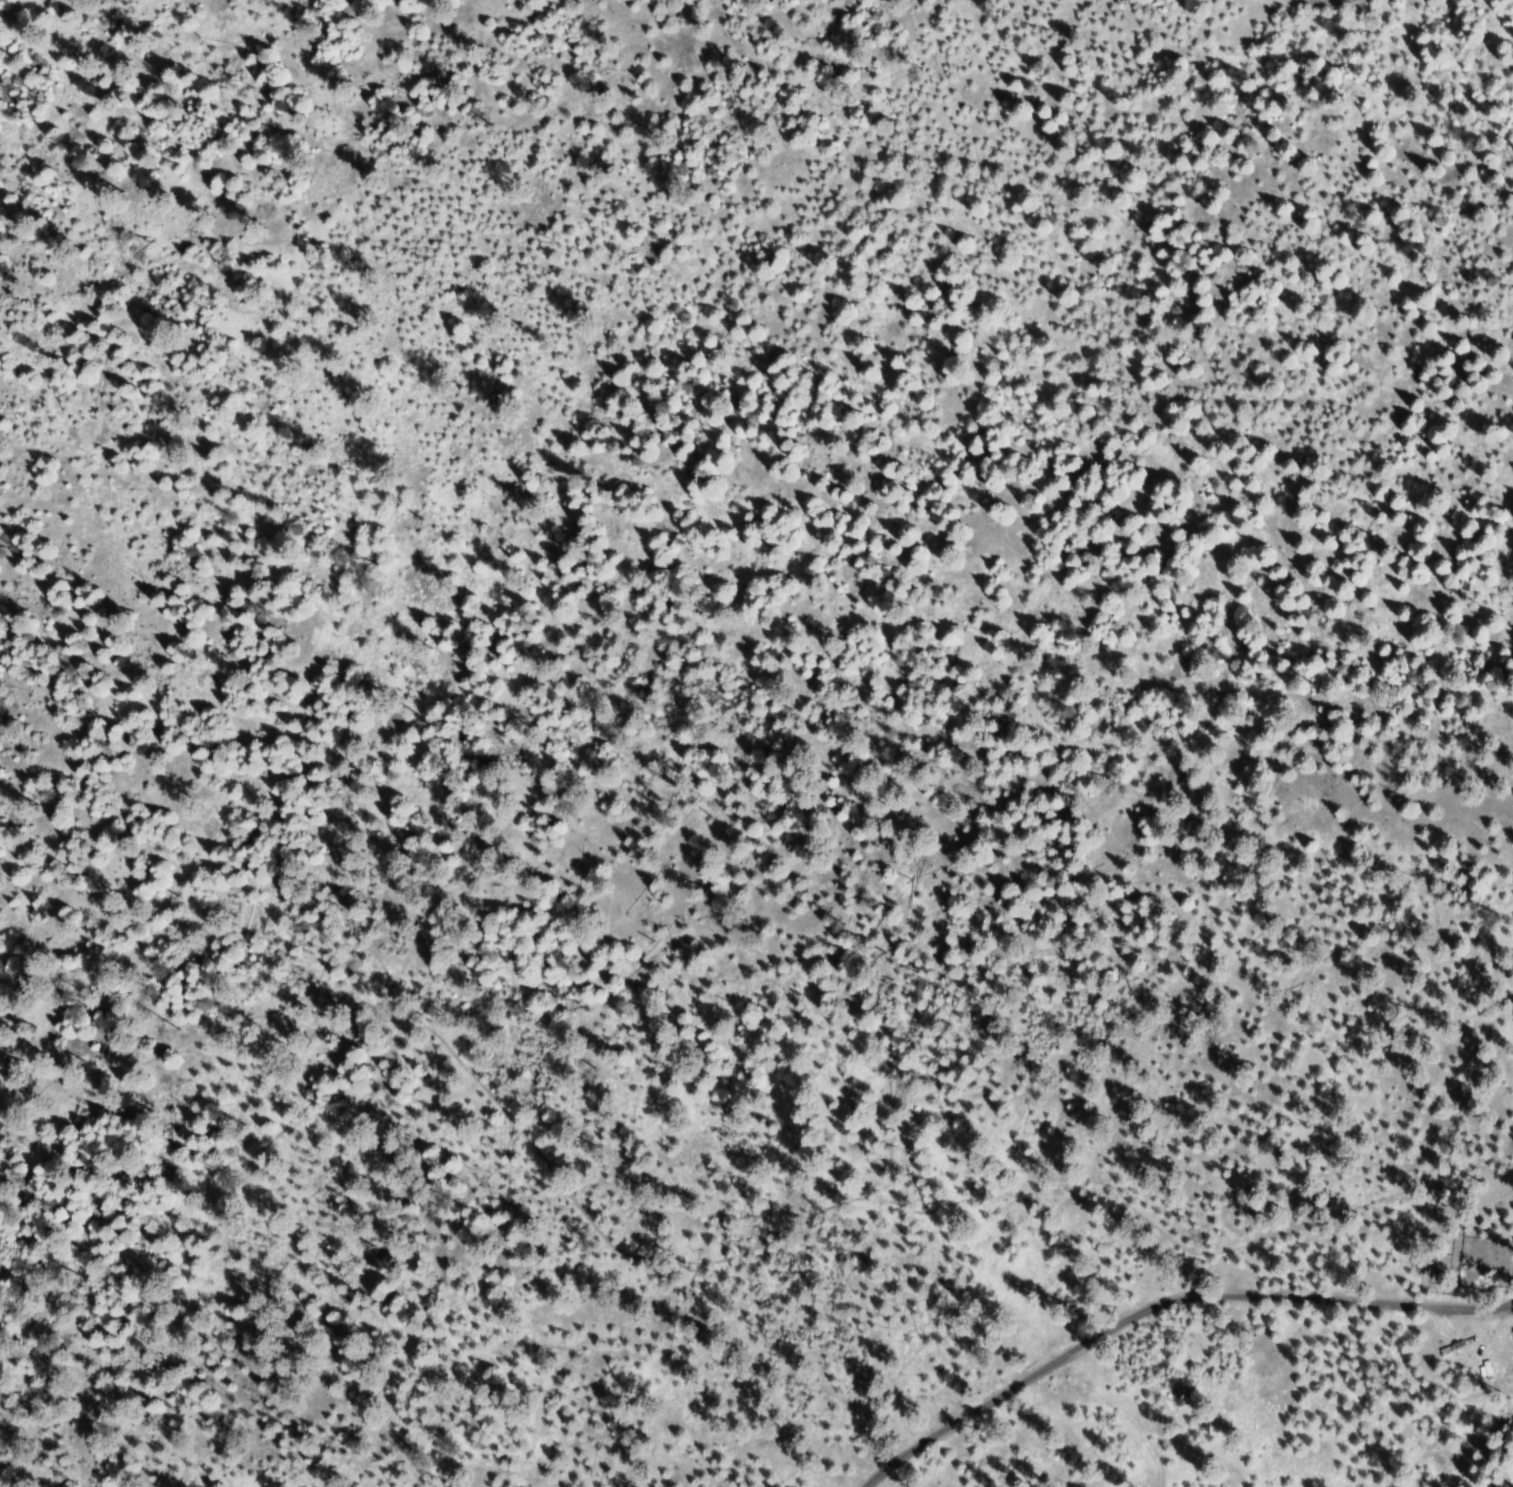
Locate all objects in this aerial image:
road: (1166, 1317)

